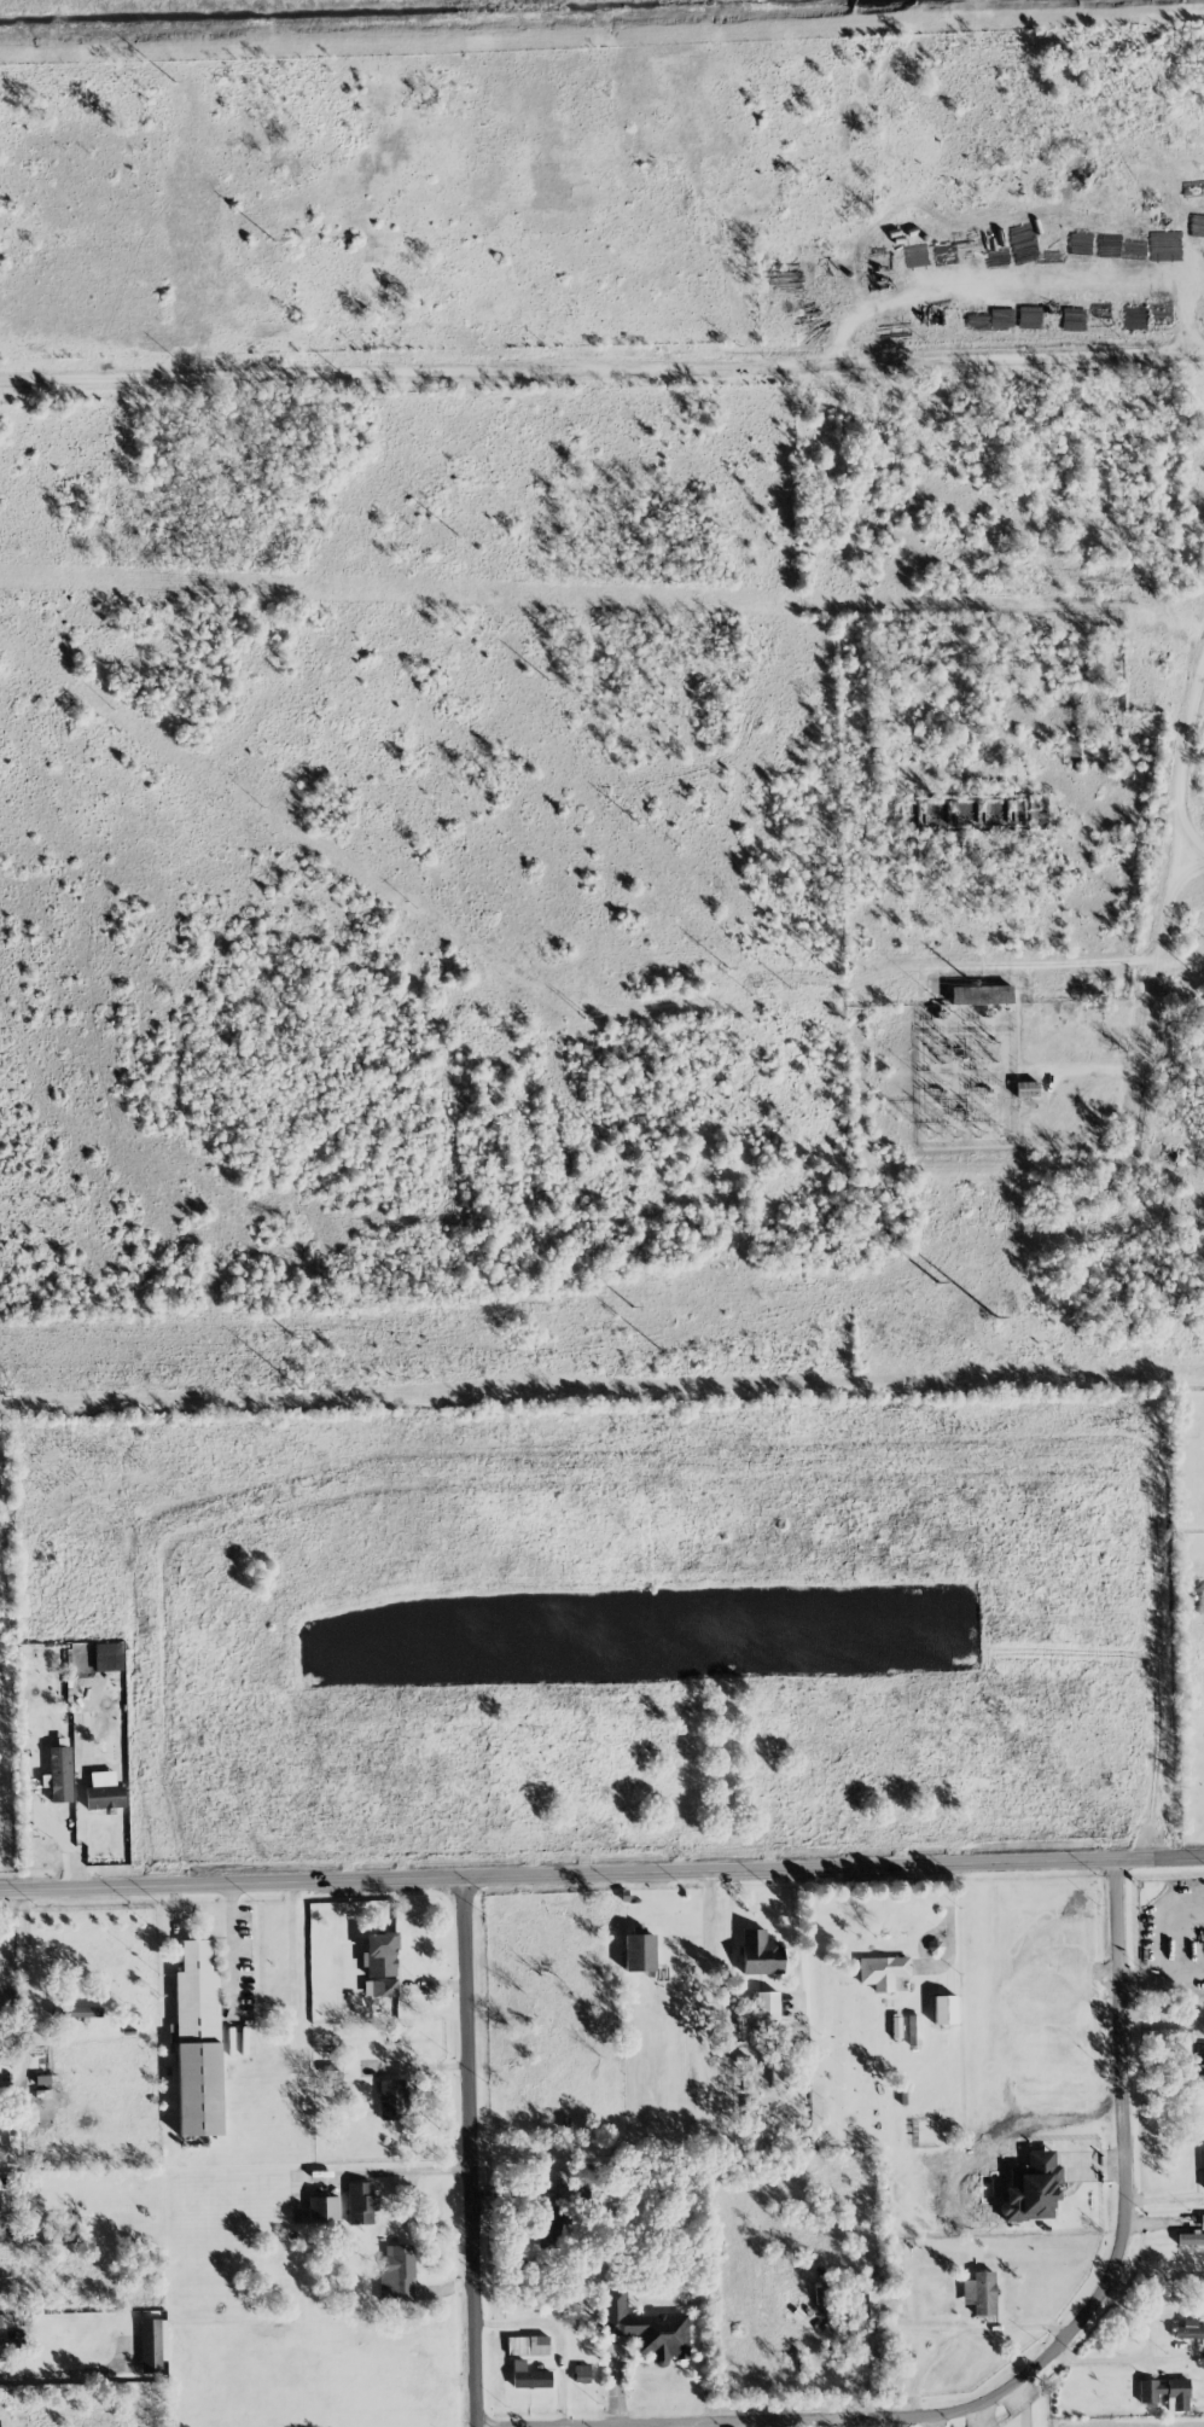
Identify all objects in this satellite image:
road: (1019, 287)
road: (601, 368)
road: (1194, 861)
road: (1171, 920)
building: (981, 994)
power substation: (964, 1076)
building: (1025, 1089)
power tower: (943, 1279)
power tower: (612, 1309)
power tower: (993, 1325)
power tower: (284, 1339)
power tower: (640, 1357)
power tower: (287, 1390)
building: (78, 1651)
building: (107, 1657)
building: (59, 1774)
building: (104, 1791)
road: (601, 1873)
road: (231, 1948)
building: (639, 1952)
building: (760, 1952)
building: (380, 1963)
building: (882, 1971)
road: (1163, 1980)
road: (25, 1996)
building: (767, 2006)
building: (943, 2009)
building: (83, 2012)
building: (913, 2030)
building: (197, 2042)
building: (780, 2068)
building: (1199, 2068)
building: (391, 2099)
road: (476, 2152)
building: (1202, 2166)
building: (1031, 2188)
building: (361, 2201)
building: (322, 2207)
building: (6, 2208)
building: (1202, 2222)
building: (549, 2227)
building: (64, 2234)
building: (1191, 2239)
building: (396, 2274)
building: (979, 2292)
road: (1100, 2306)
building: (645, 2327)
building: (1188, 2330)
building: (152, 2344)
building: (527, 2345)
building: (581, 2373)
building: (528, 2376)
building: (1164, 2392)
road: (1022, 2405)
road: (978, 2419)

